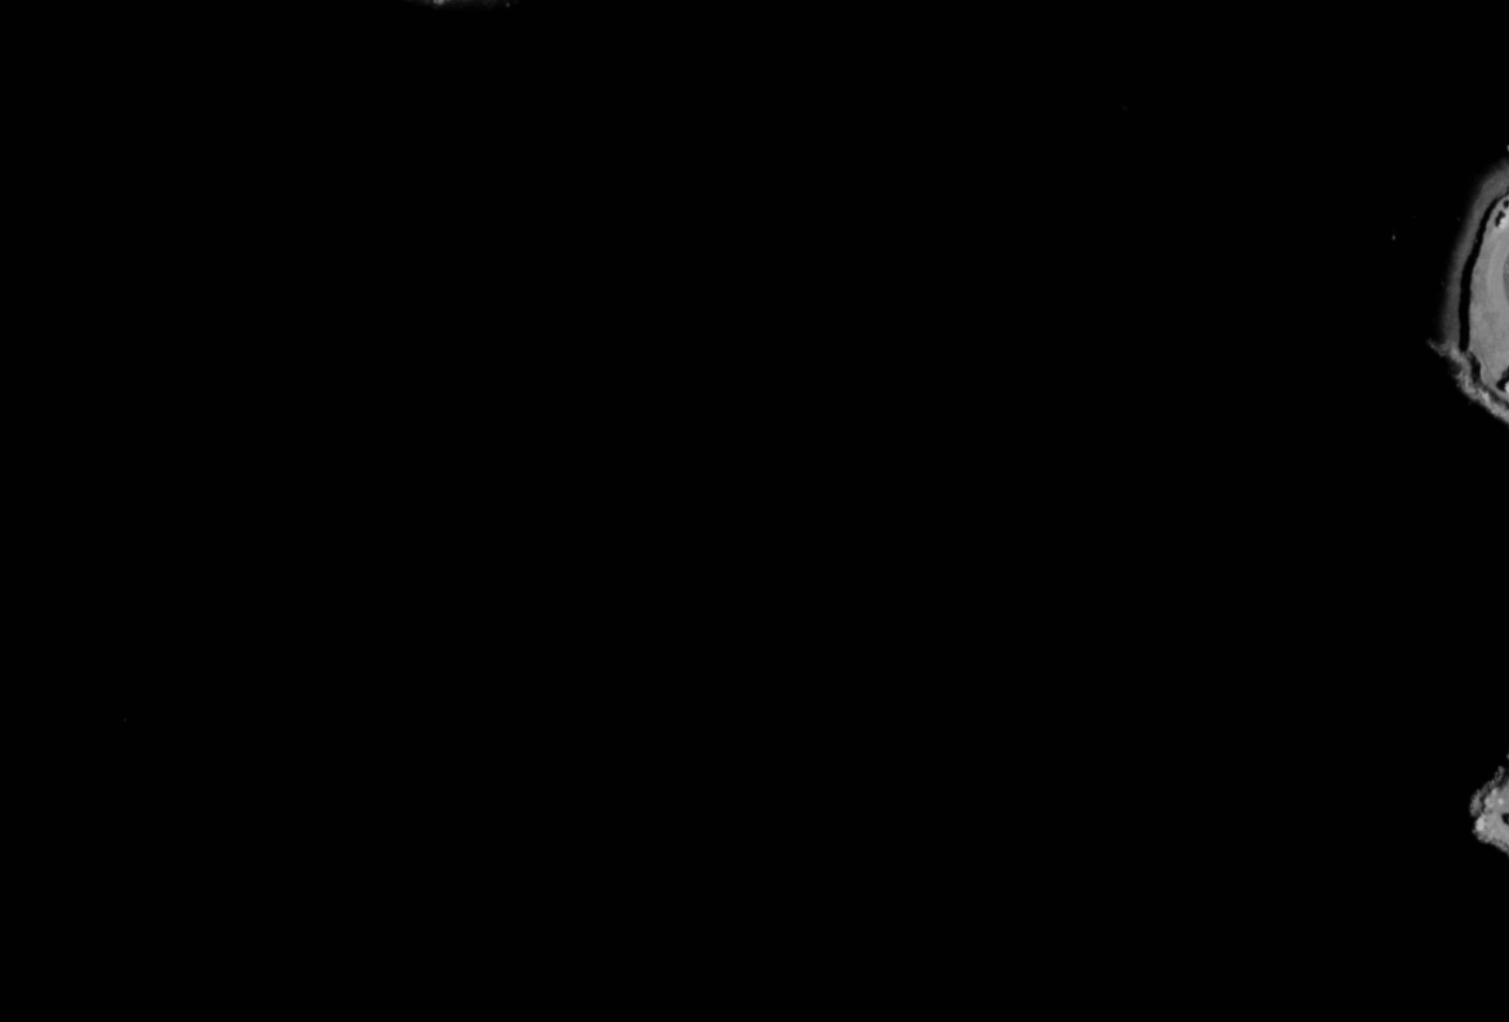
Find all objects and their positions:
road: (1500, 282)
road: (1505, 830)

